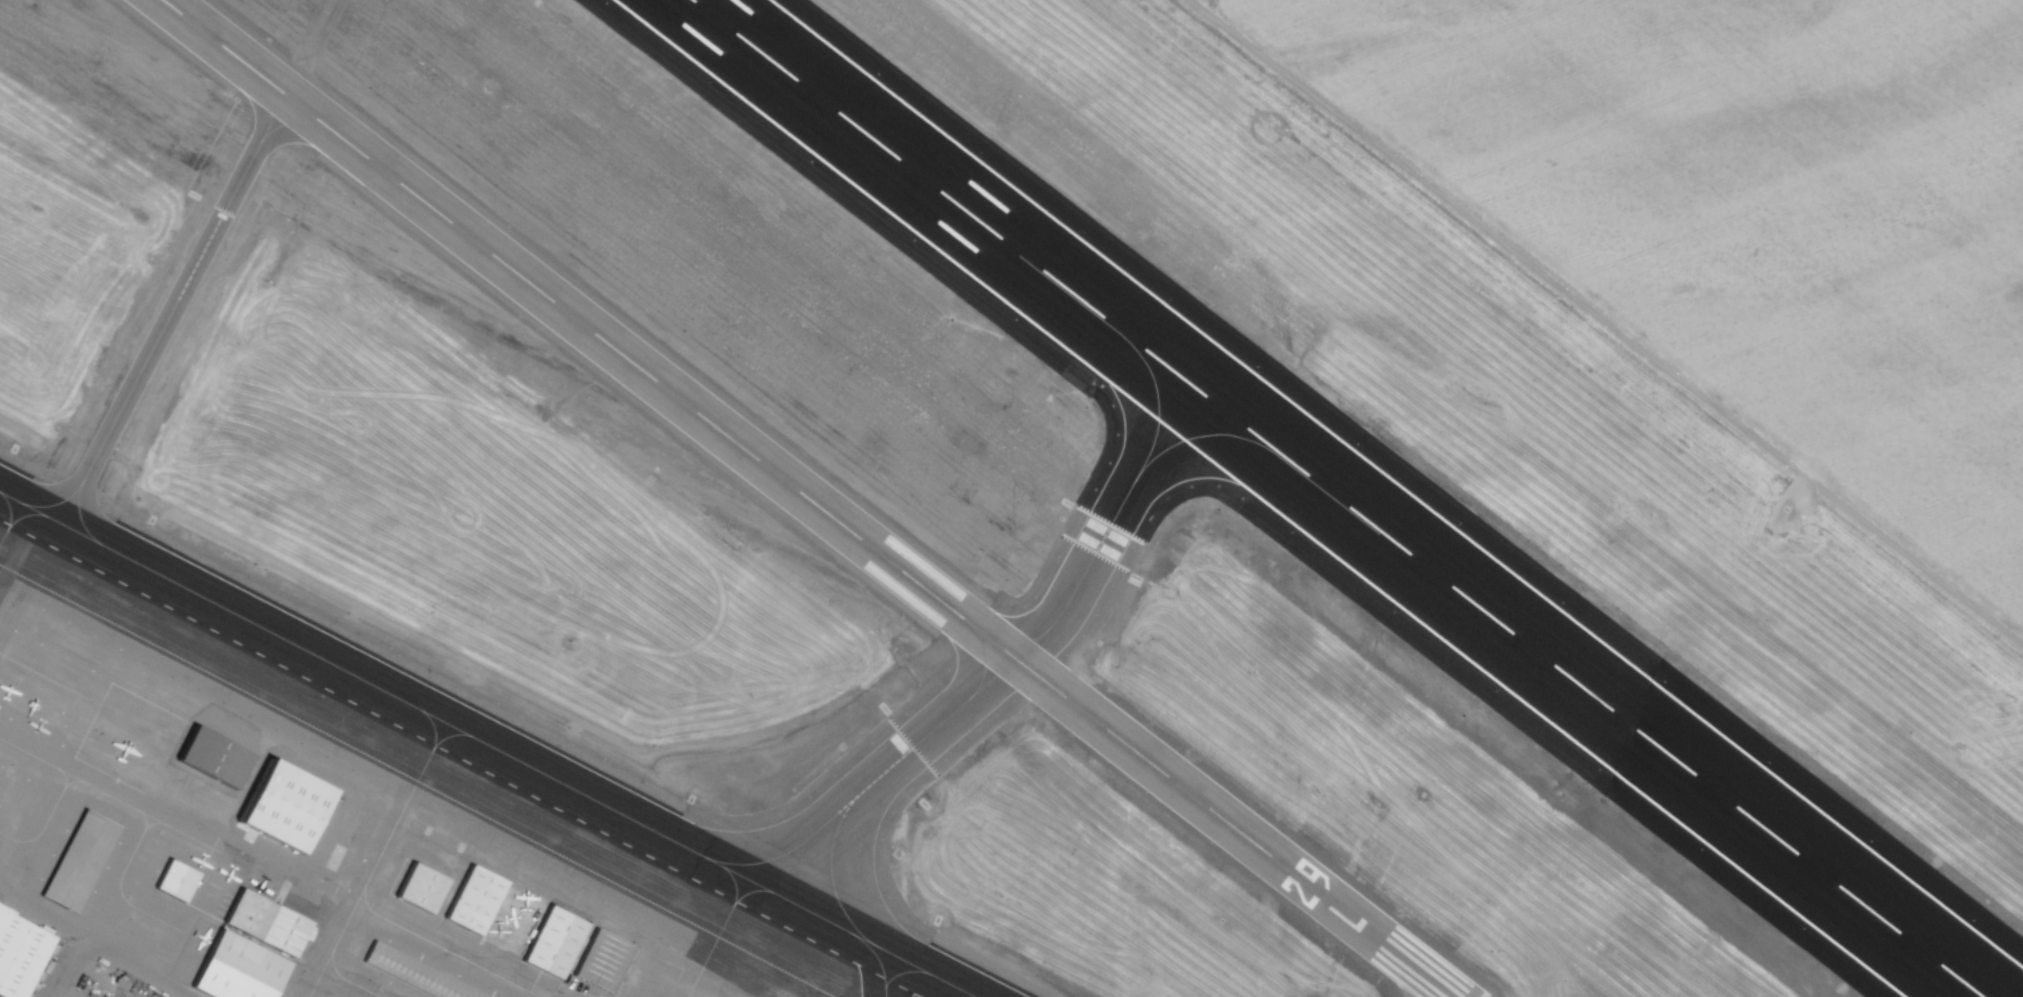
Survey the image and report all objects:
airport taxiway: (268, 103)
crop: (1657, 288)
airport taxiway: (173, 305)
airport taxiway: (1207, 434)
airport runway: (806, 498)
airport runway: (1336, 498)
airport taxiway: (79, 518)
airport taxiway: (7, 526)
airport taxiway: (3, 534)
airport: (803, 564)
airport taxiway: (1073, 588)
airport taxiway: (969, 624)
airport taxiway: (49, 679)
airport taxiway: (485, 745)
airport taxiway: (432, 747)
building: (205, 757)
airport taxiway: (40, 761)
airport taxiway: (64, 778)
airport taxiway: (93, 788)
building: (276, 810)
airport taxiway: (144, 827)
airport apron: (296, 843)
airport taxiway: (792, 848)
building: (71, 858)
airport taxiway: (830, 878)
building: (168, 880)
airport taxiway: (365, 881)
building: (412, 889)
airport taxiway: (120, 893)
building: (466, 901)
airport taxiway: (732, 903)
building: (546, 942)
airport taxiway: (440, 948)
building: (242, 950)
airport taxiway: (708, 951)
building: (15, 953)
building: (593, 960)
airport taxiway: (878, 962)
airport taxiway: (901, 972)
building: (414, 974)
airport taxiway: (1416, 977)

